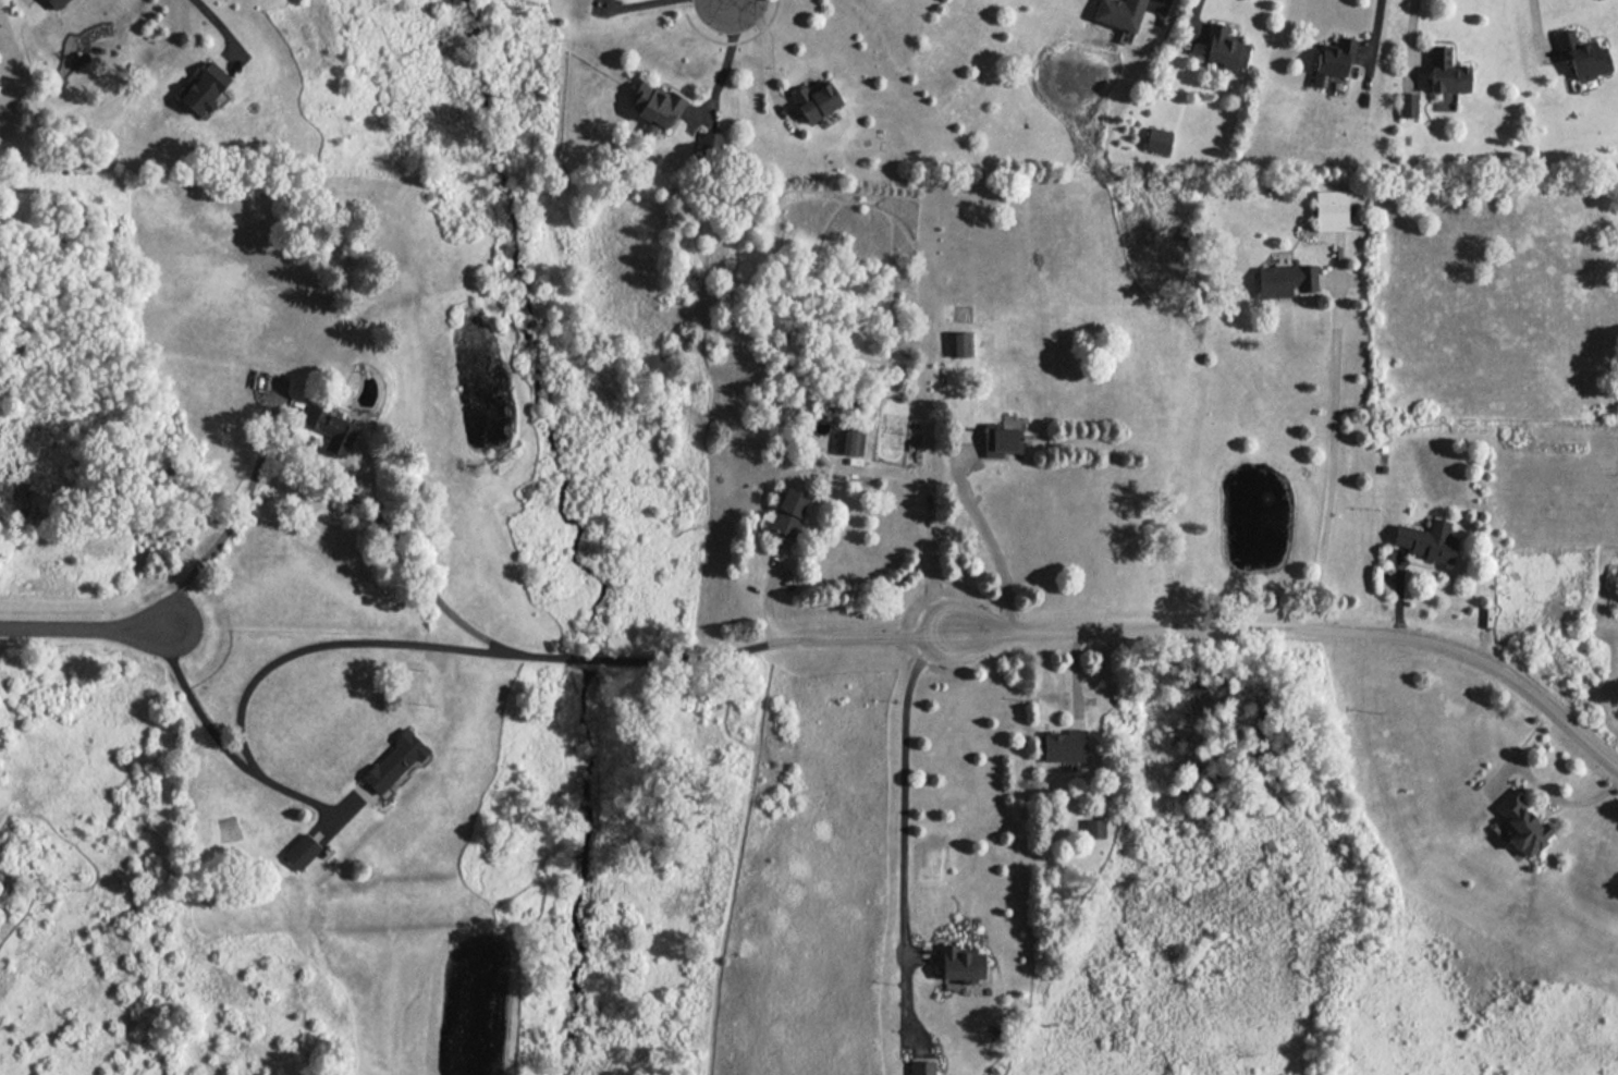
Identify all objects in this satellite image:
road: (720, 1)
road: (725, 1)
building: (57, 2)
road: (625, 5)
building: (1119, 13)
road: (217, 25)
building: (1224, 47)
road: (767, 49)
building: (1582, 54)
building: (1333, 60)
road: (722, 64)
building: (1446, 72)
building: (204, 87)
building: (816, 100)
building: (1408, 105)
building: (655, 107)
building: (1157, 141)
building: (712, 144)
building: (1331, 210)
building: (1286, 280)
building: (960, 344)
building: (330, 429)
building: (1000, 439)
building: (850, 441)
road: (1333, 457)
road: (309, 481)
building: (788, 512)
road: (930, 520)
road: (988, 529)
building: (1425, 540)
road: (85, 626)
road: (1310, 630)
road: (868, 636)
road: (281, 656)
road: (675, 659)
building: (394, 760)
road: (905, 779)
building: (1521, 823)
building: (1094, 828)
building: (302, 851)
building: (960, 963)
building: (921, 1067)

